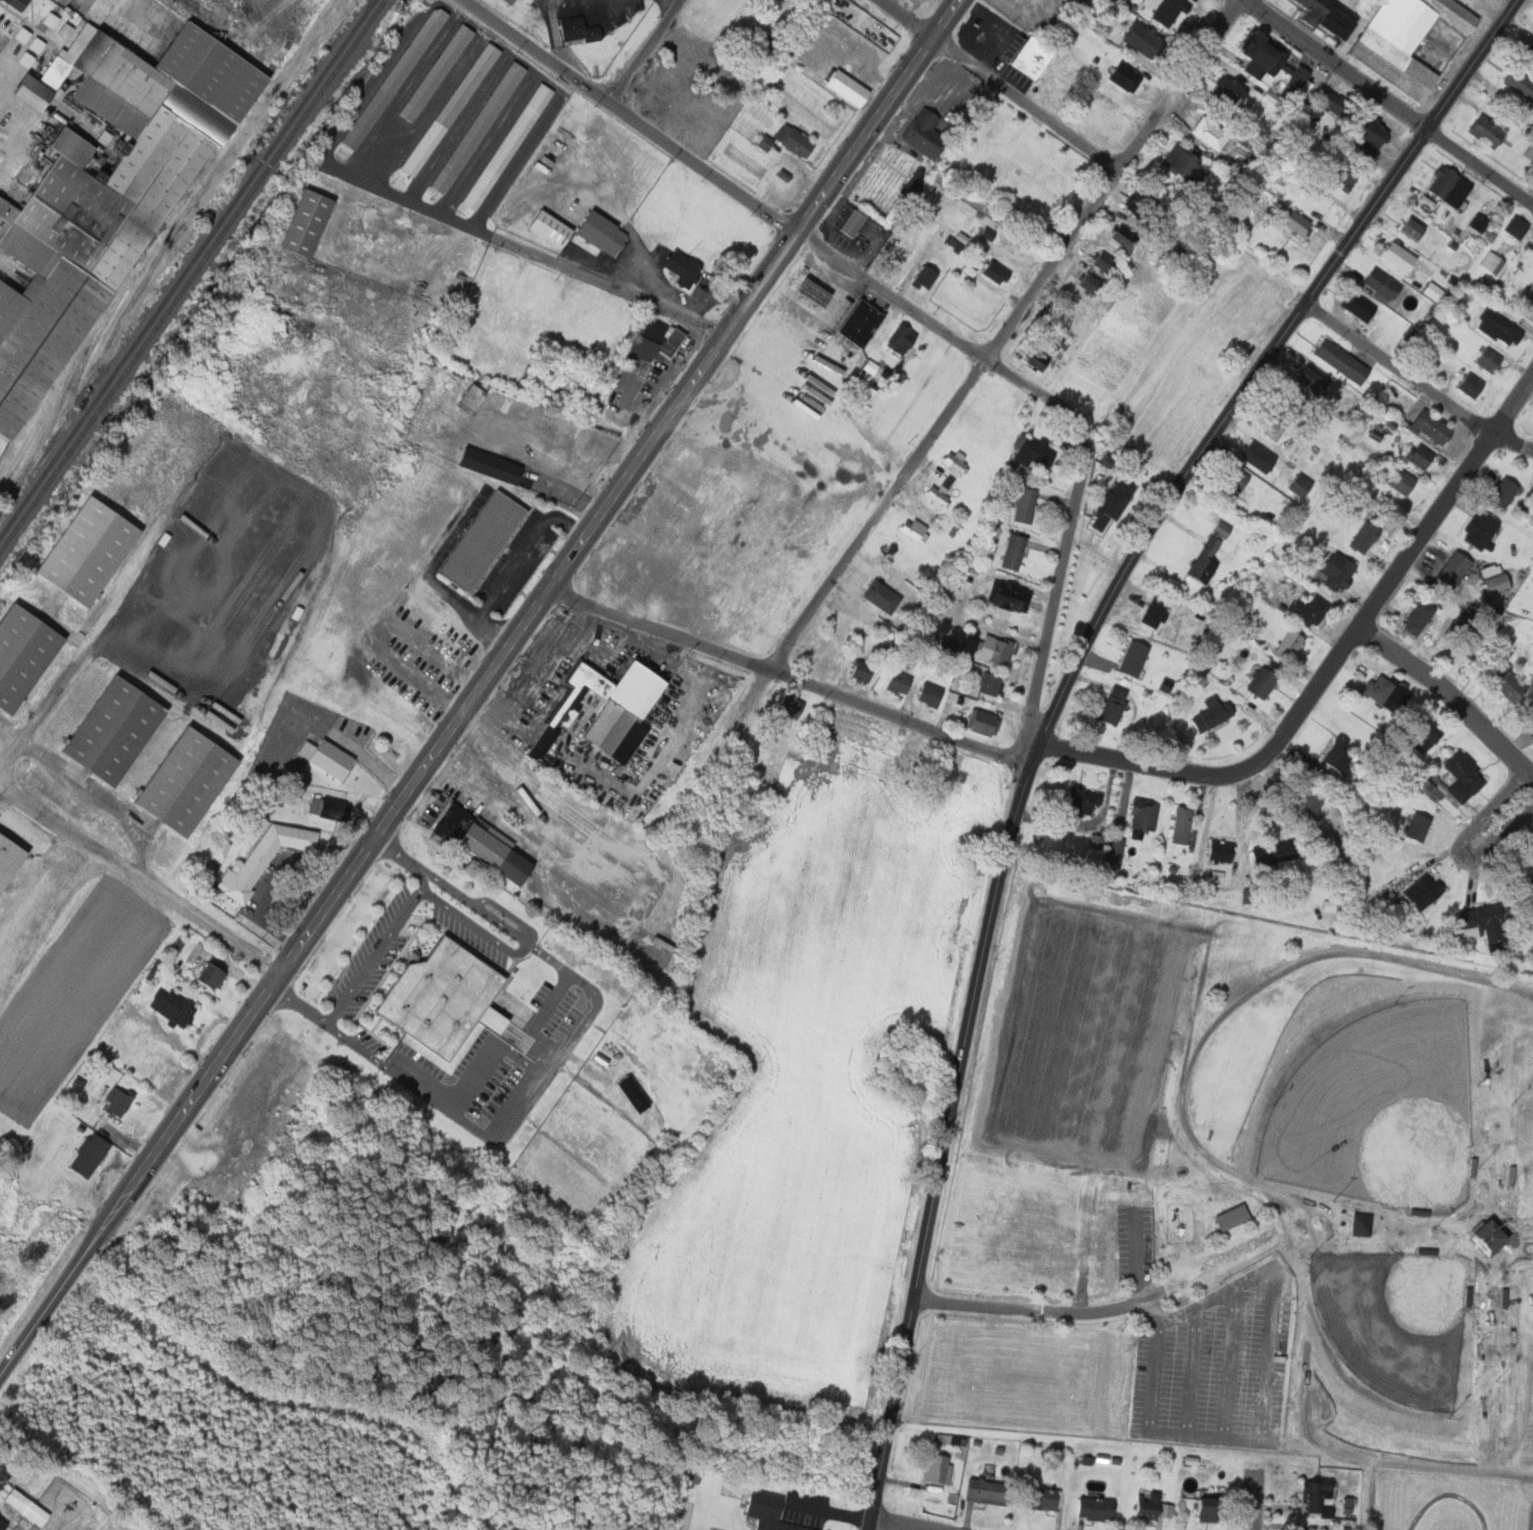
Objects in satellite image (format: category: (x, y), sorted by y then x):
building: (1191, 0)
building: (513, 1)
building: (21, 3)
building: (1167, 11)
building: (1330, 17)
building: (582, 28)
building: (69, 29)
building: (1136, 38)
building: (1405, 40)
road: (644, 50)
building: (1528, 53)
building: (1263, 54)
building: (1027, 58)
building: (439, 72)
building: (1121, 76)
building: (397, 77)
building: (1295, 82)
road: (997, 83)
building: (1520, 84)
building: (844, 89)
building: (1229, 91)
road: (1388, 101)
building: (1340, 107)
building: (453, 108)
road: (629, 114)
building: (480, 127)
building: (1489, 129)
building: (920, 133)
building: (1371, 135)
building: (797, 139)
building: (767, 142)
building: (511, 145)
building: (1529, 152)
building: (1182, 161)
building: (122, 174)
building: (1344, 177)
building: (912, 183)
building: (1449, 186)
building: (1140, 199)
building: (1264, 204)
building: (312, 221)
building: (857, 222)
building: (1475, 223)
building: (1297, 224)
building: (1515, 228)
building: (1411, 229)
building: (607, 232)
building: (1125, 237)
building: (955, 241)
building: (1530, 245)
road: (518, 248)
building: (1399, 256)
building: (1105, 262)
building: (1491, 262)
railway: (187, 267)
building: (687, 268)
building: (991, 271)
railway: (192, 275)
building: (929, 277)
building: (1381, 284)
building: (1090, 285)
building: (820, 291)
building: (1434, 292)
road: (889, 296)
building: (1358, 305)
building: (864, 322)
building: (1498, 328)
road: (1003, 334)
building: (1051, 337)
building: (658, 339)
building: (906, 339)
building: (1038, 359)
building: (1489, 360)
building: (1342, 362)
building: (872, 366)
road: (1257, 372)
road: (1015, 380)
building: (1313, 380)
road: (1415, 382)
building: (1470, 385)
building: (477, 395)
building: (1293, 402)
building: (1434, 427)
building: (1273, 428)
building: (1033, 452)
building: (1420, 456)
building: (1260, 457)
building: (953, 462)
building: (495, 465)
building: (1238, 479)
building: (952, 480)
building: (1402, 482)
building: (1302, 485)
building: (1502, 492)
building: (937, 495)
building: (1114, 503)
building: (1026, 505)
building: (914, 529)
building: (1481, 530)
building: (1365, 537)
building: (487, 540)
building: (95, 550)
building: (1014, 552)
building: (1210, 553)
road: (1060, 564)
building: (1454, 569)
building: (1340, 570)
building: (1487, 570)
building: (1497, 583)
building: (1008, 596)
building: (1309, 611)
building: (1156, 613)
building: (1419, 617)
building: (1290, 644)
building: (996, 650)
building: (26, 655)
building: (1135, 658)
road: (1332, 662)
building: (862, 671)
road: (790, 675)
building: (899, 682)
building: (1263, 682)
building: (1508, 683)
building: (992, 684)
road: (480, 688)
building: (1388, 692)
building: (930, 694)
road: (1447, 694)
building: (610, 704)
building: (793, 705)
building: (1114, 705)
building: (1531, 708)
building: (1212, 714)
building: (982, 722)
building: (120, 730)
building: (1531, 731)
building: (1427, 736)
building: (633, 741)
building: (1340, 756)
building: (331, 757)
road: (1530, 776)
building: (1464, 777)
building: (192, 781)
building: (1439, 791)
building: (1082, 801)
building: (1311, 803)
building: (330, 807)
building: (1143, 819)
building: (454, 822)
building: (1181, 825)
building: (1418, 827)
building: (1530, 842)
road: (1459, 847)
building: (500, 851)
building: (1221, 851)
building: (1275, 853)
building: (1113, 856)
building: (10, 857)
building: (266, 858)
road: (141, 884)
building: (1424, 891)
road: (473, 923)
building: (1485, 924)
road: (376, 948)
road: (1354, 951)
building: (215, 974)
building: (449, 1003)
building: (175, 1006)
road: (540, 1017)
road: (487, 1049)
park: (1317, 1054)
road: (547, 1067)
building: (637, 1093)
building: (121, 1101)
building: (1392, 1141)
park: (1529, 1143)
road: (944, 1146)
building: (93, 1155)
park: (1458, 1177)
park: (1250, 1200)
building: (1242, 1213)
building: (1228, 1217)
building: (1357, 1224)
park: (1024, 1226)
parking lot: (1146, 1240)
road: (1150, 1247)
road: (1326, 1255)
building: (1383, 1277)
road: (1342, 1296)
road: (931, 1297)
road: (1157, 1299)
road: (1056, 1311)
road: (1188, 1322)
road: (1166, 1327)
road: (1278, 1359)
parking lot: (1228, 1362)
road: (1241, 1362)
park: (1428, 1367)
park: (1531, 1367)
park: (1523, 1369)
road: (1202, 1370)
park: (1027, 1374)
road: (1227, 1431)
road: (1422, 1464)
building: (938, 1469)
building: (987, 1491)
road: (1460, 1491)
building: (1315, 1493)
building: (1042, 1498)
road: (1255, 1499)
building: (1345, 1504)
building: (1148, 1505)
building: (28, 1506)
building: (1095, 1508)
building: (1209, 1509)
building: (768, 1512)
building: (4, 1522)
road: (893, 1526)

